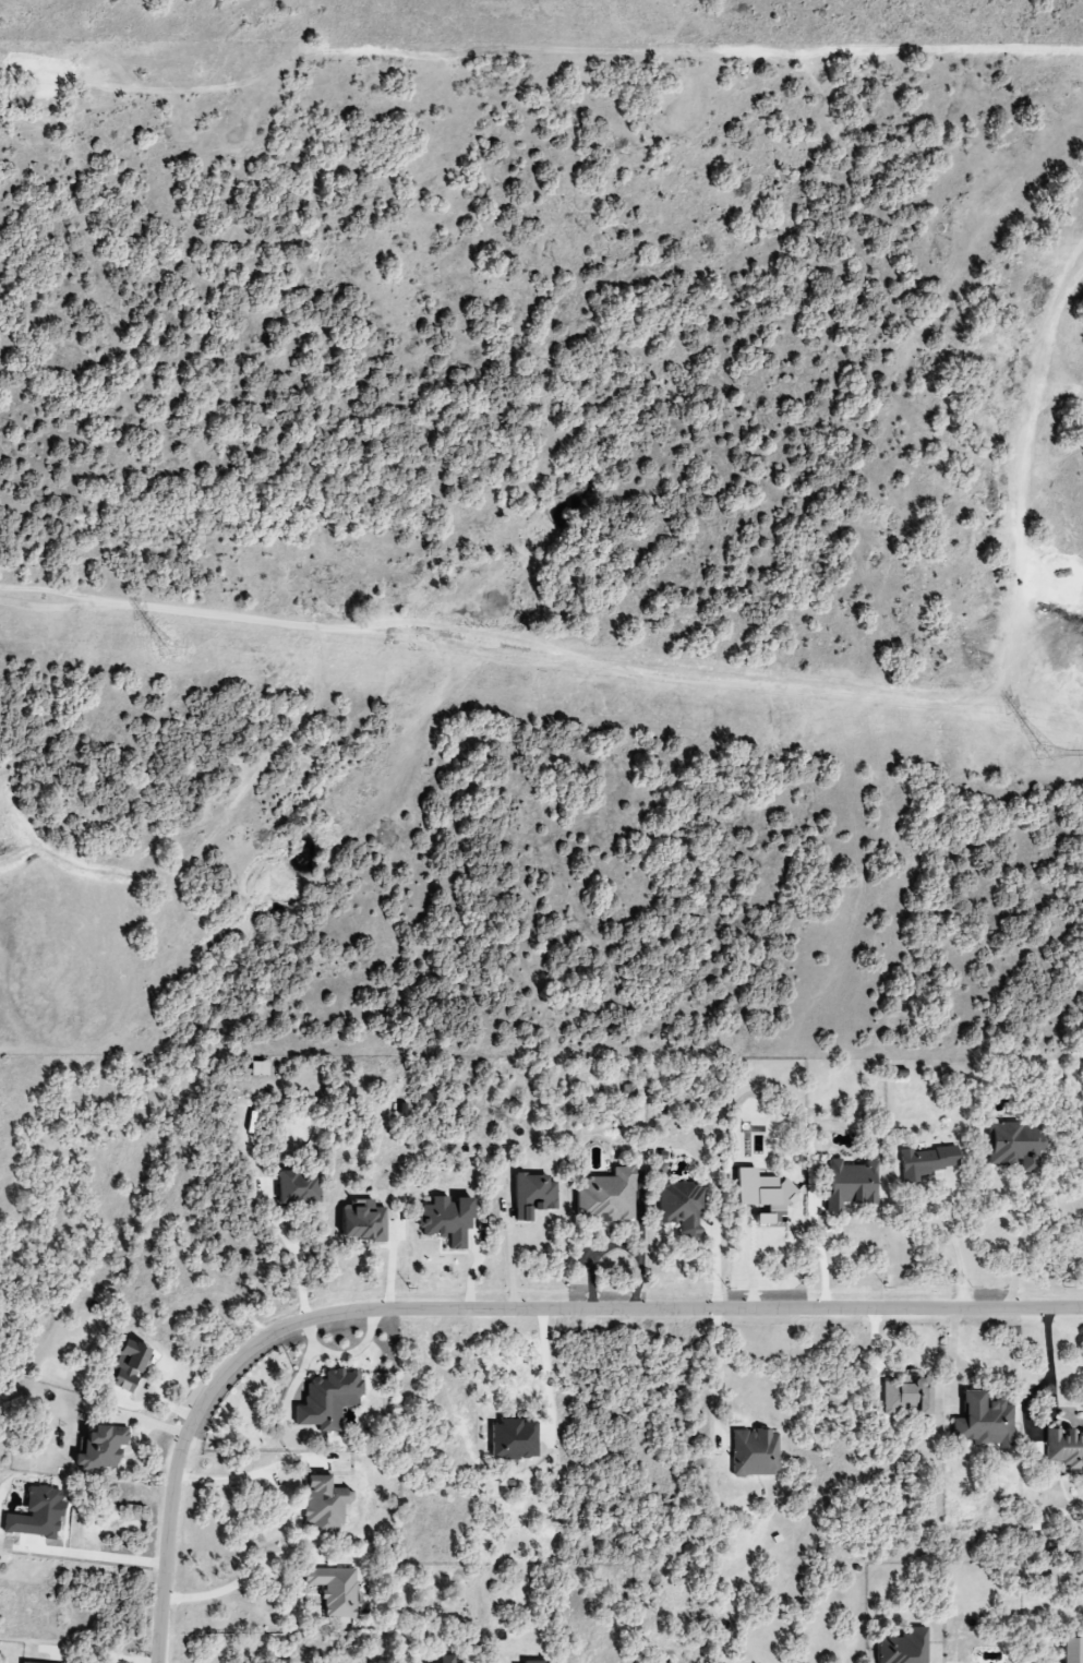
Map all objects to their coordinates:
road: (829, 51)
power tower: (170, 654)
power tower: (1047, 757)
building: (261, 1070)
building: (1013, 1149)
building: (928, 1160)
building: (849, 1181)
building: (297, 1188)
building: (762, 1195)
building: (532, 1196)
building: (607, 1197)
building: (682, 1209)
building: (446, 1221)
building: (361, 1222)
road: (952, 1245)
road: (641, 1246)
road: (819, 1253)
road: (1020, 1257)
road: (595, 1260)
road: (300, 1275)
road: (494, 1312)
road: (540, 1360)
building: (124, 1367)
road: (717, 1378)
building: (327, 1400)
road: (1051, 1412)
building: (982, 1421)
building: (512, 1439)
building: (100, 1448)
building: (1064, 1448)
road: (226, 1483)
building: (322, 1504)
building: (36, 1516)
road: (101, 1556)
building: (1049, 1581)
road: (236, 1583)
building: (902, 1648)
building: (1072, 1650)
building: (449, 1661)
building: (533, 1662)

